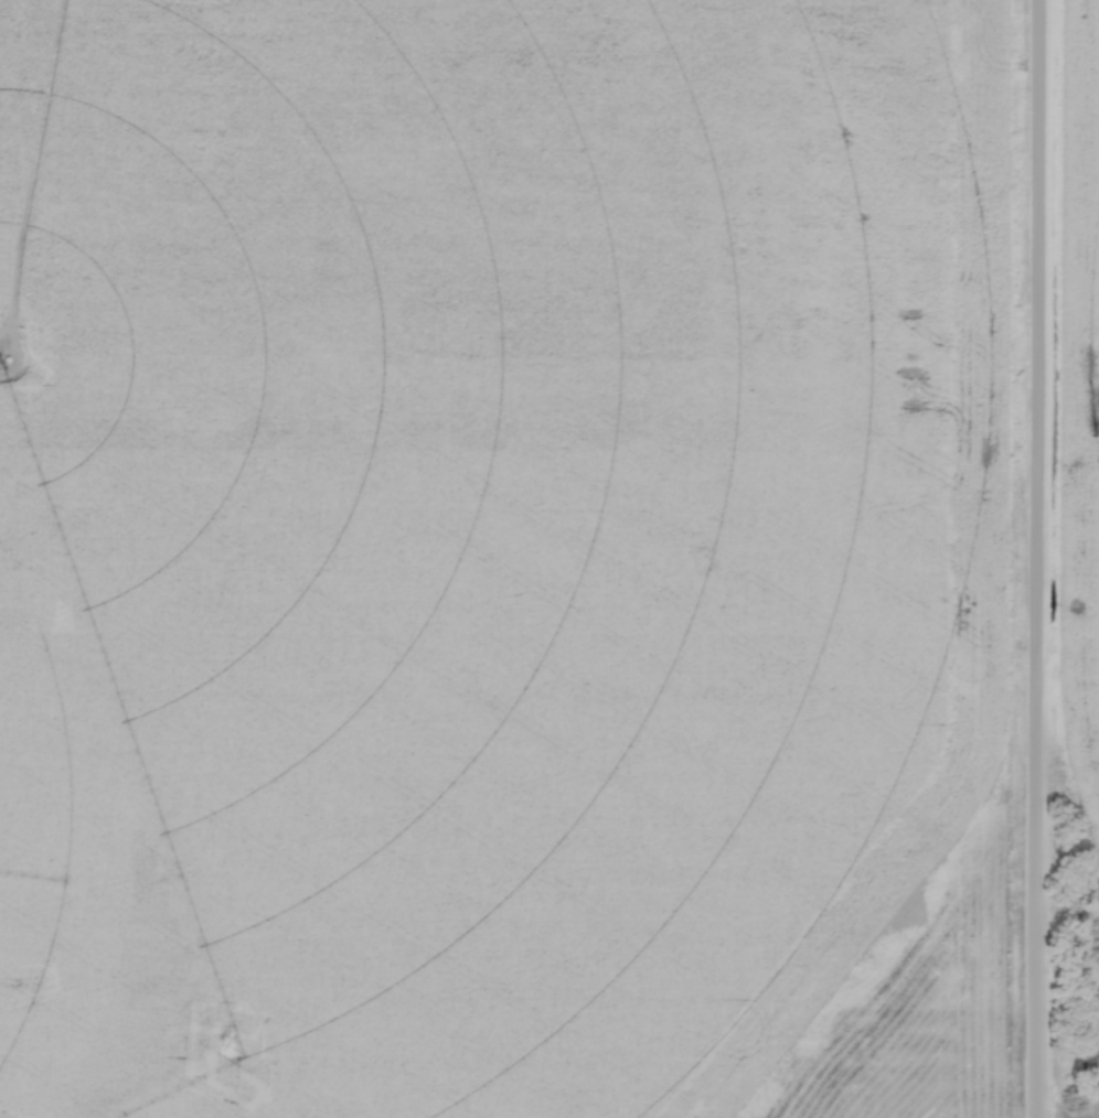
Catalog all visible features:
road: (1037, 558)
power tower: (230, 1041)

